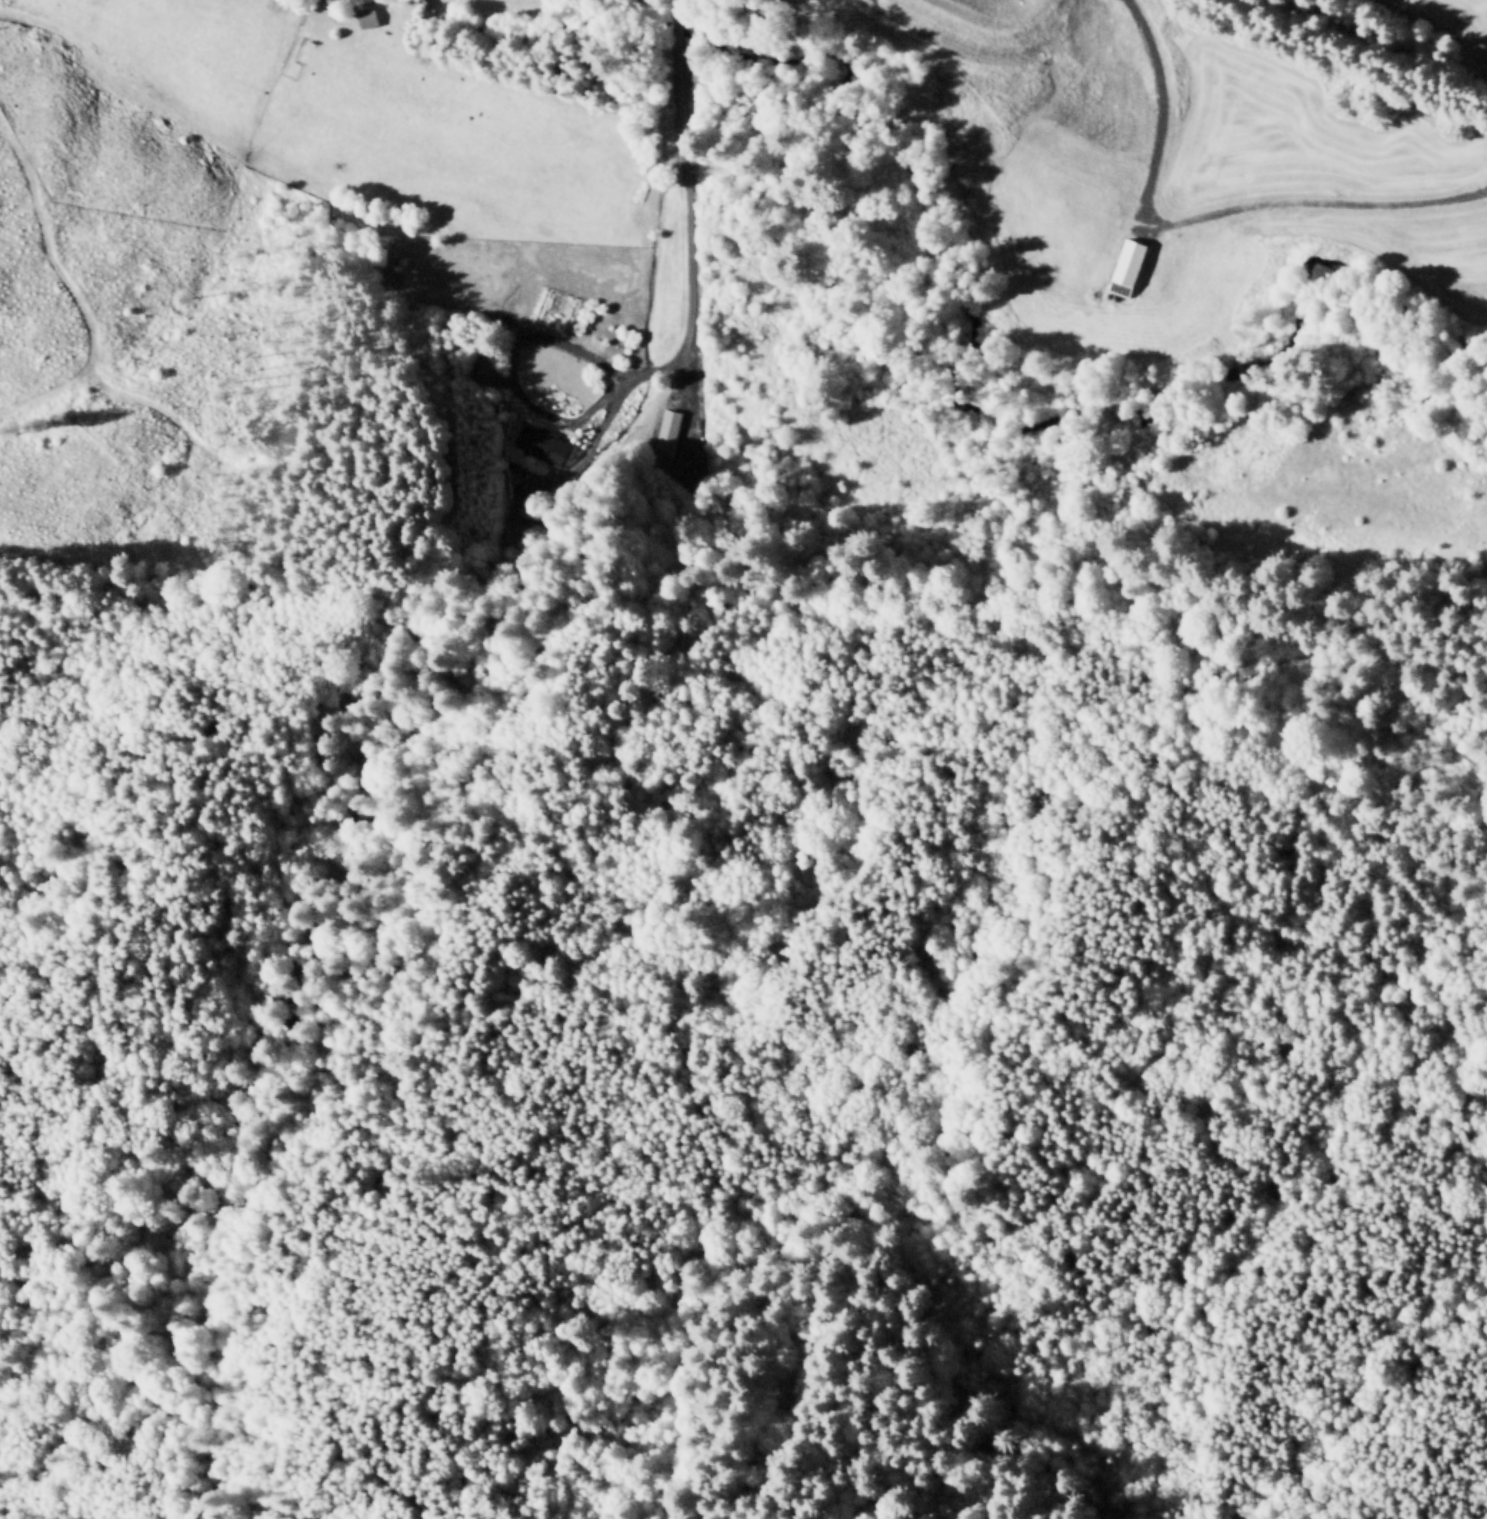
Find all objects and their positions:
road: (679, 2)
crop: (1457, 22)
road: (680, 24)
crop: (1220, 121)
crop: (388, 122)
road: (687, 186)
road: (1313, 203)
building: (1128, 270)
road: (692, 363)
building: (485, 369)
road: (514, 377)
building: (500, 390)
building: (667, 442)
building: (543, 446)
building: (513, 468)
road: (572, 469)
building: (695, 479)

